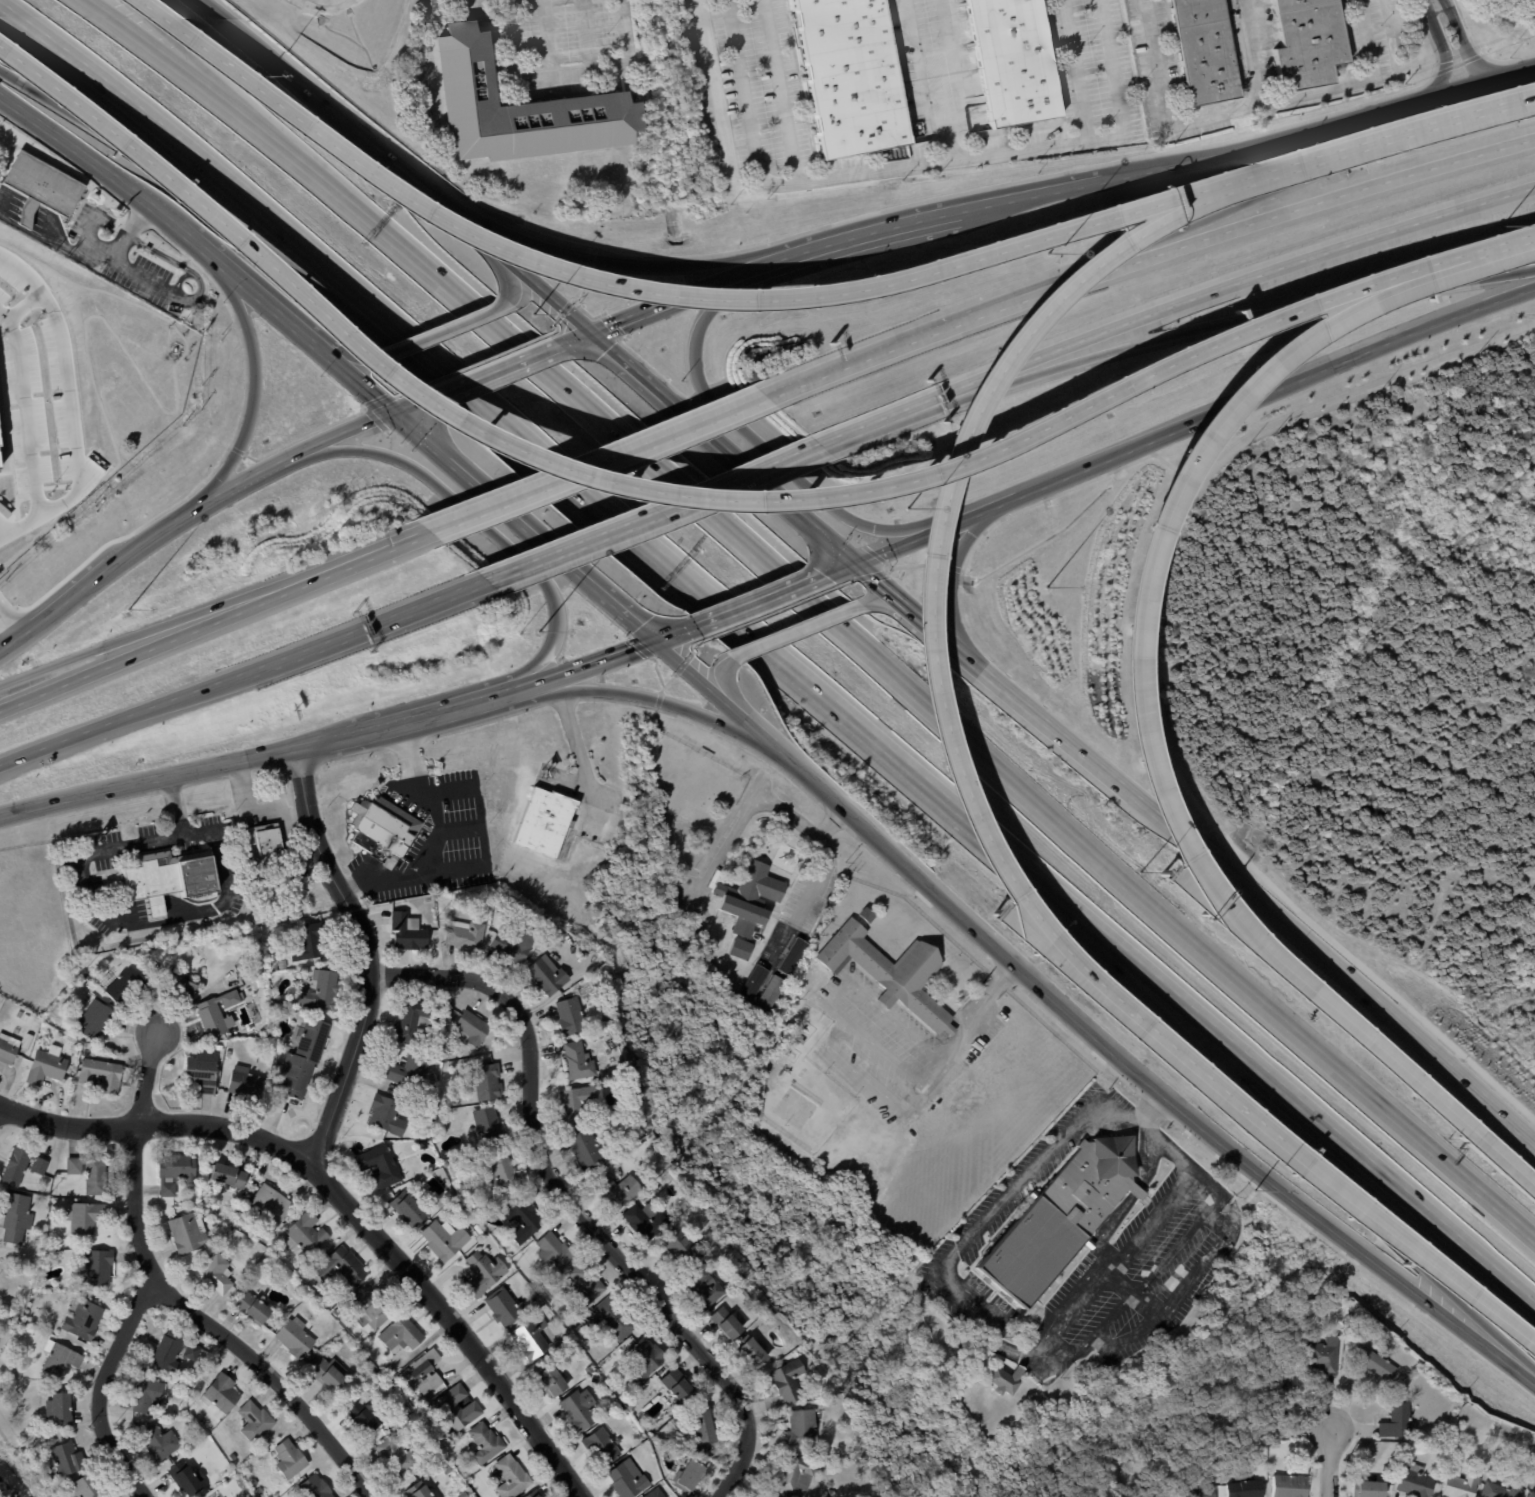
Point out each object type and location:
road: (740, 3)
road: (224, 18)
road: (588, 33)
road: (1449, 43)
building: (1309, 44)
road: (2, 51)
road: (184, 51)
road: (1254, 51)
building: (1207, 52)
road: (157, 54)
road: (510, 54)
building: (1013, 61)
road: (584, 67)
road: (920, 69)
building: (851, 77)
road: (957, 81)
road: (1117, 85)
road: (780, 90)
building: (522, 105)
road: (1249, 105)
road: (1320, 130)
road: (1416, 132)
road: (375, 146)
road: (93, 161)
road: (908, 167)
road: (1312, 174)
building: (43, 185)
road: (1031, 193)
road: (193, 199)
road: (1312, 204)
road: (6, 208)
road: (1454, 213)
building: (25, 215)
road: (881, 231)
road: (301, 244)
road: (1480, 254)
road: (114, 256)
road: (772, 262)
road: (620, 264)
road: (27, 266)
road: (134, 278)
road: (511, 278)
road: (246, 286)
road: (448, 288)
road: (549, 293)
road: (681, 296)
road: (23, 305)
road: (651, 307)
road: (1144, 317)
road: (1223, 324)
road: (445, 328)
traffic signals: (594, 330)
road: (929, 335)
road: (1379, 349)
road: (1231, 350)
road: (344, 355)
road: (638, 369)
road: (491, 371)
road: (351, 376)
road: (386, 377)
road: (254, 381)
road: (408, 404)
road: (25, 411)
traffic signals: (393, 411)
building: (143, 418)
road: (867, 424)
road: (709, 431)
road: (340, 434)
road: (71, 436)
road: (759, 443)
road: (598, 463)
road: (950, 464)
road: (256, 473)
road: (1038, 485)
road: (486, 491)
road: (777, 493)
road: (1028, 505)
road: (650, 511)
road: (170, 522)
road: (483, 523)
road: (3, 533)
road: (836, 547)
road: (351, 563)
traffic signals: (854, 563)
road: (838, 569)
road: (953, 573)
road: (887, 590)
road: (67, 600)
road: (759, 600)
road: (617, 606)
road: (891, 607)
road: (2, 613)
road: (927, 626)
road: (796, 631)
road: (8, 632)
road: (676, 633)
road: (135, 636)
road: (942, 637)
traffic signals: (656, 641)
road: (8, 646)
road: (136, 652)
road: (580, 667)
road: (242, 673)
road: (1156, 684)
road: (704, 685)
road: (822, 692)
road: (731, 694)
road: (630, 695)
road: (1135, 701)
road: (1028, 709)
road: (428, 715)
road: (323, 741)
road: (766, 741)
road: (580, 762)
road: (147, 779)
road: (1121, 787)
road: (754, 802)
road: (174, 804)
building: (546, 822)
building: (384, 826)
road: (481, 827)
road: (460, 829)
building: (265, 838)
parking lot: (432, 839)
road: (441, 842)
road: (1099, 854)
road: (821, 876)
building: (168, 878)
building: (485, 899)
building: (748, 902)
building: (409, 932)
building: (466, 936)
building: (545, 942)
building: (308, 943)
building: (514, 946)
road: (366, 953)
building: (792, 956)
building: (284, 966)
building: (275, 967)
building: (893, 972)
road: (1344, 973)
building: (548, 976)
building: (89, 983)
building: (752, 983)
building: (128, 987)
building: (176, 989)
building: (319, 991)
building: (768, 994)
building: (20, 1014)
building: (217, 1014)
building: (571, 1017)
building: (25, 1018)
building: (93, 1020)
building: (413, 1020)
road: (1419, 1023)
building: (472, 1028)
building: (27, 1042)
building: (220, 1048)
building: (8, 1049)
building: (76, 1049)
building: (86, 1053)
building: (448, 1053)
building: (229, 1054)
building: (436, 1054)
building: (303, 1059)
building: (579, 1062)
road: (942, 1064)
building: (47, 1067)
building: (408, 1069)
building: (201, 1070)
building: (101, 1075)
building: (488, 1080)
road: (147, 1081)
road: (1146, 1081)
building: (247, 1085)
road: (1292, 1096)
building: (431, 1097)
building: (578, 1105)
building: (389, 1114)
building: (490, 1126)
building: (642, 1130)
road: (1287, 1134)
building: (422, 1143)
building: (655, 1147)
building: (586, 1150)
road: (1501, 1161)
building: (446, 1163)
building: (22, 1165)
building: (381, 1165)
building: (502, 1171)
building: (90, 1172)
building: (176, 1172)
building: (229, 1174)
building: (443, 1182)
building: (619, 1192)
building: (54, 1201)
building: (272, 1202)
road: (347, 1203)
road: (571, 1204)
building: (408, 1206)
building: (697, 1210)
building: (16, 1216)
building: (86, 1216)
building: (524, 1218)
building: (1061, 1218)
building: (645, 1221)
building: (189, 1232)
building: (306, 1233)
building: (446, 1239)
road: (1405, 1240)
building: (684, 1245)
building: (556, 1251)
building: (270, 1257)
building: (97, 1267)
building: (341, 1267)
building: (485, 1272)
building: (216, 1273)
building: (586, 1283)
building: (537, 1286)
building: (703, 1287)
building: (1072, 1287)
building: (310, 1298)
building: (253, 1307)
building: (506, 1307)
building: (368, 1308)
building: (762, 1308)
building: (337, 1312)
building: (769, 1316)
building: (81, 1317)
building: (614, 1318)
road: (991, 1320)
building: (728, 1322)
road: (211, 1328)
building: (19, 1329)
building: (401, 1334)
building: (296, 1337)
building: (532, 1337)
building: (573, 1342)
building: (811, 1342)
building: (171, 1350)
building: (752, 1351)
building: (1328, 1355)
building: (60, 1358)
building: (646, 1358)
building: (366, 1362)
building: (1375, 1365)
building: (590, 1370)
building: (424, 1372)
building: (329, 1374)
building: (550, 1378)
building: (789, 1380)
building: (1007, 1380)
building: (203, 1384)
building: (636, 1386)
building: (680, 1386)
road: (100, 1391)
building: (221, 1393)
building: (147, 1394)
building: (1031, 1405)
building: (458, 1407)
building: (631, 1407)
building: (60, 1408)
building: (407, 1412)
building: (579, 1412)
building: (364, 1418)
building: (1280, 1420)
building: (202, 1421)
building: (255, 1421)
building: (1400, 1422)
building: (160, 1424)
building: (704, 1427)
building: (803, 1428)
building: (160, 1441)
building: (486, 1442)
building: (603, 1445)
building: (1278, 1445)
building: (435, 1446)
building: (690, 1446)
building: (397, 1455)
building: (233, 1457)
building: (67, 1459)
building: (290, 1459)
building: (444, 1461)
road: (1330, 1464)
building: (1481, 1465)
building: (448, 1470)
building: (796, 1471)
building: (689, 1476)
building: (512, 1477)
building: (187, 1478)
building: (629, 1479)
building: (1417, 1481)
building: (254, 1483)
building: (1461, 1484)
building: (89, 1486)
building: (1290, 1486)
building: (316, 1487)
building: (1246, 1489)
building: (1369, 1489)
building: (419, 1490)
building: (1503, 1490)
building: (259, 1491)
building: (1198, 1491)
building: (660, 1492)
building: (1533, 1493)
building: (536, 1494)
building: (464, 1495)
building: (769, 1495)

